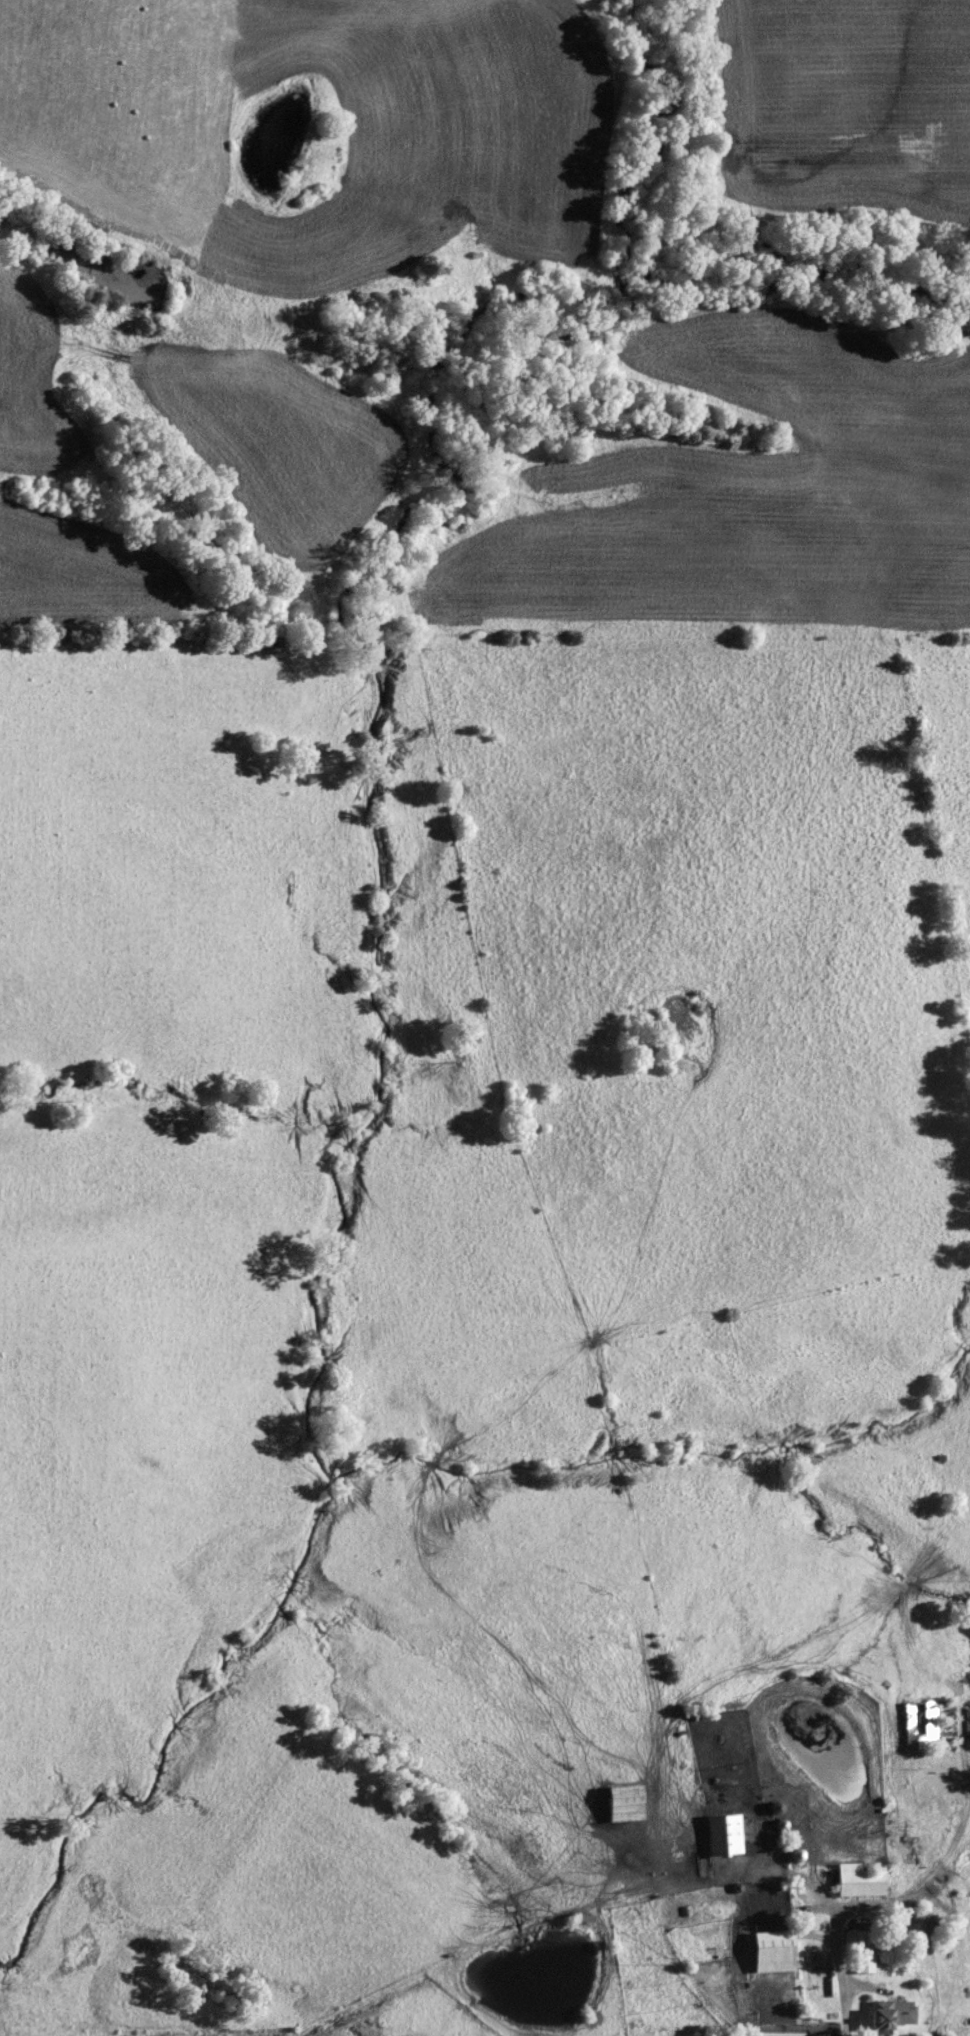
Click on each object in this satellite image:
building: (968, 1724)
building: (922, 1725)
building: (625, 1803)
road: (793, 1811)
building: (724, 1835)
road: (936, 1869)
building: (859, 1881)
building: (857, 1934)
building: (773, 1952)
building: (865, 1964)
road: (715, 2010)
building: (891, 2015)
building: (780, 2034)

